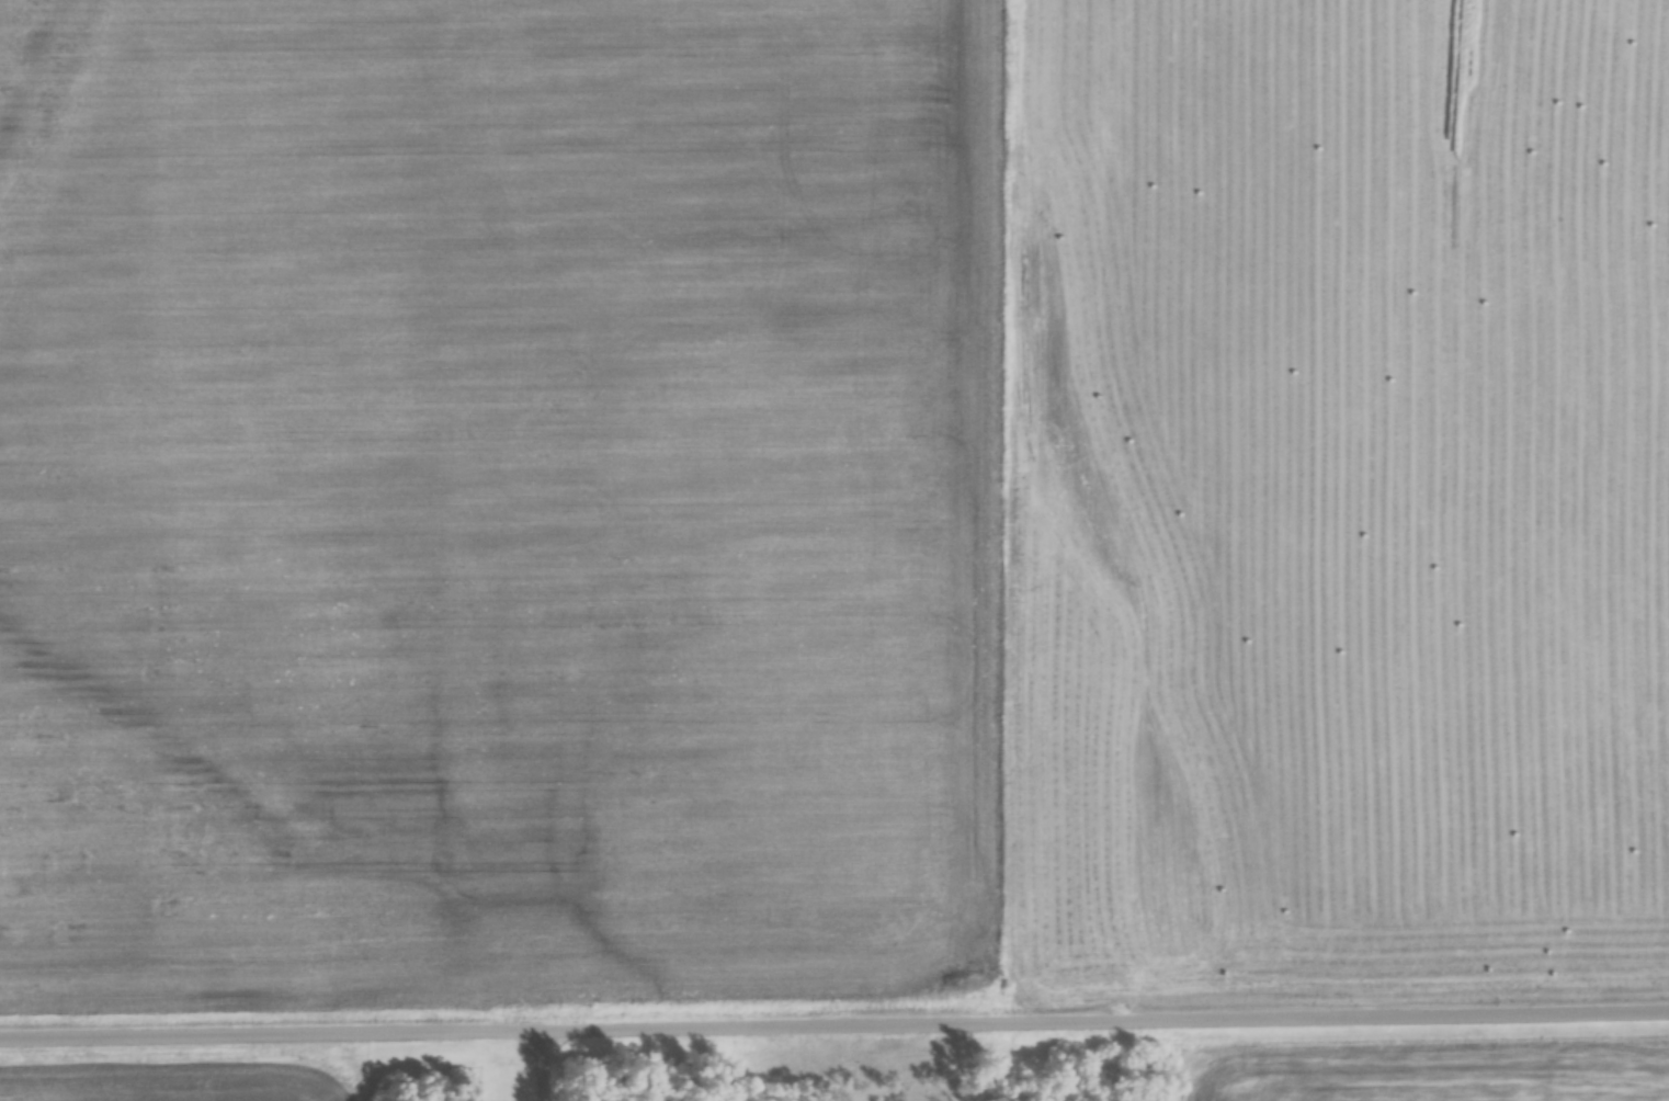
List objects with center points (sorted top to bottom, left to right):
road: (834, 1033)

